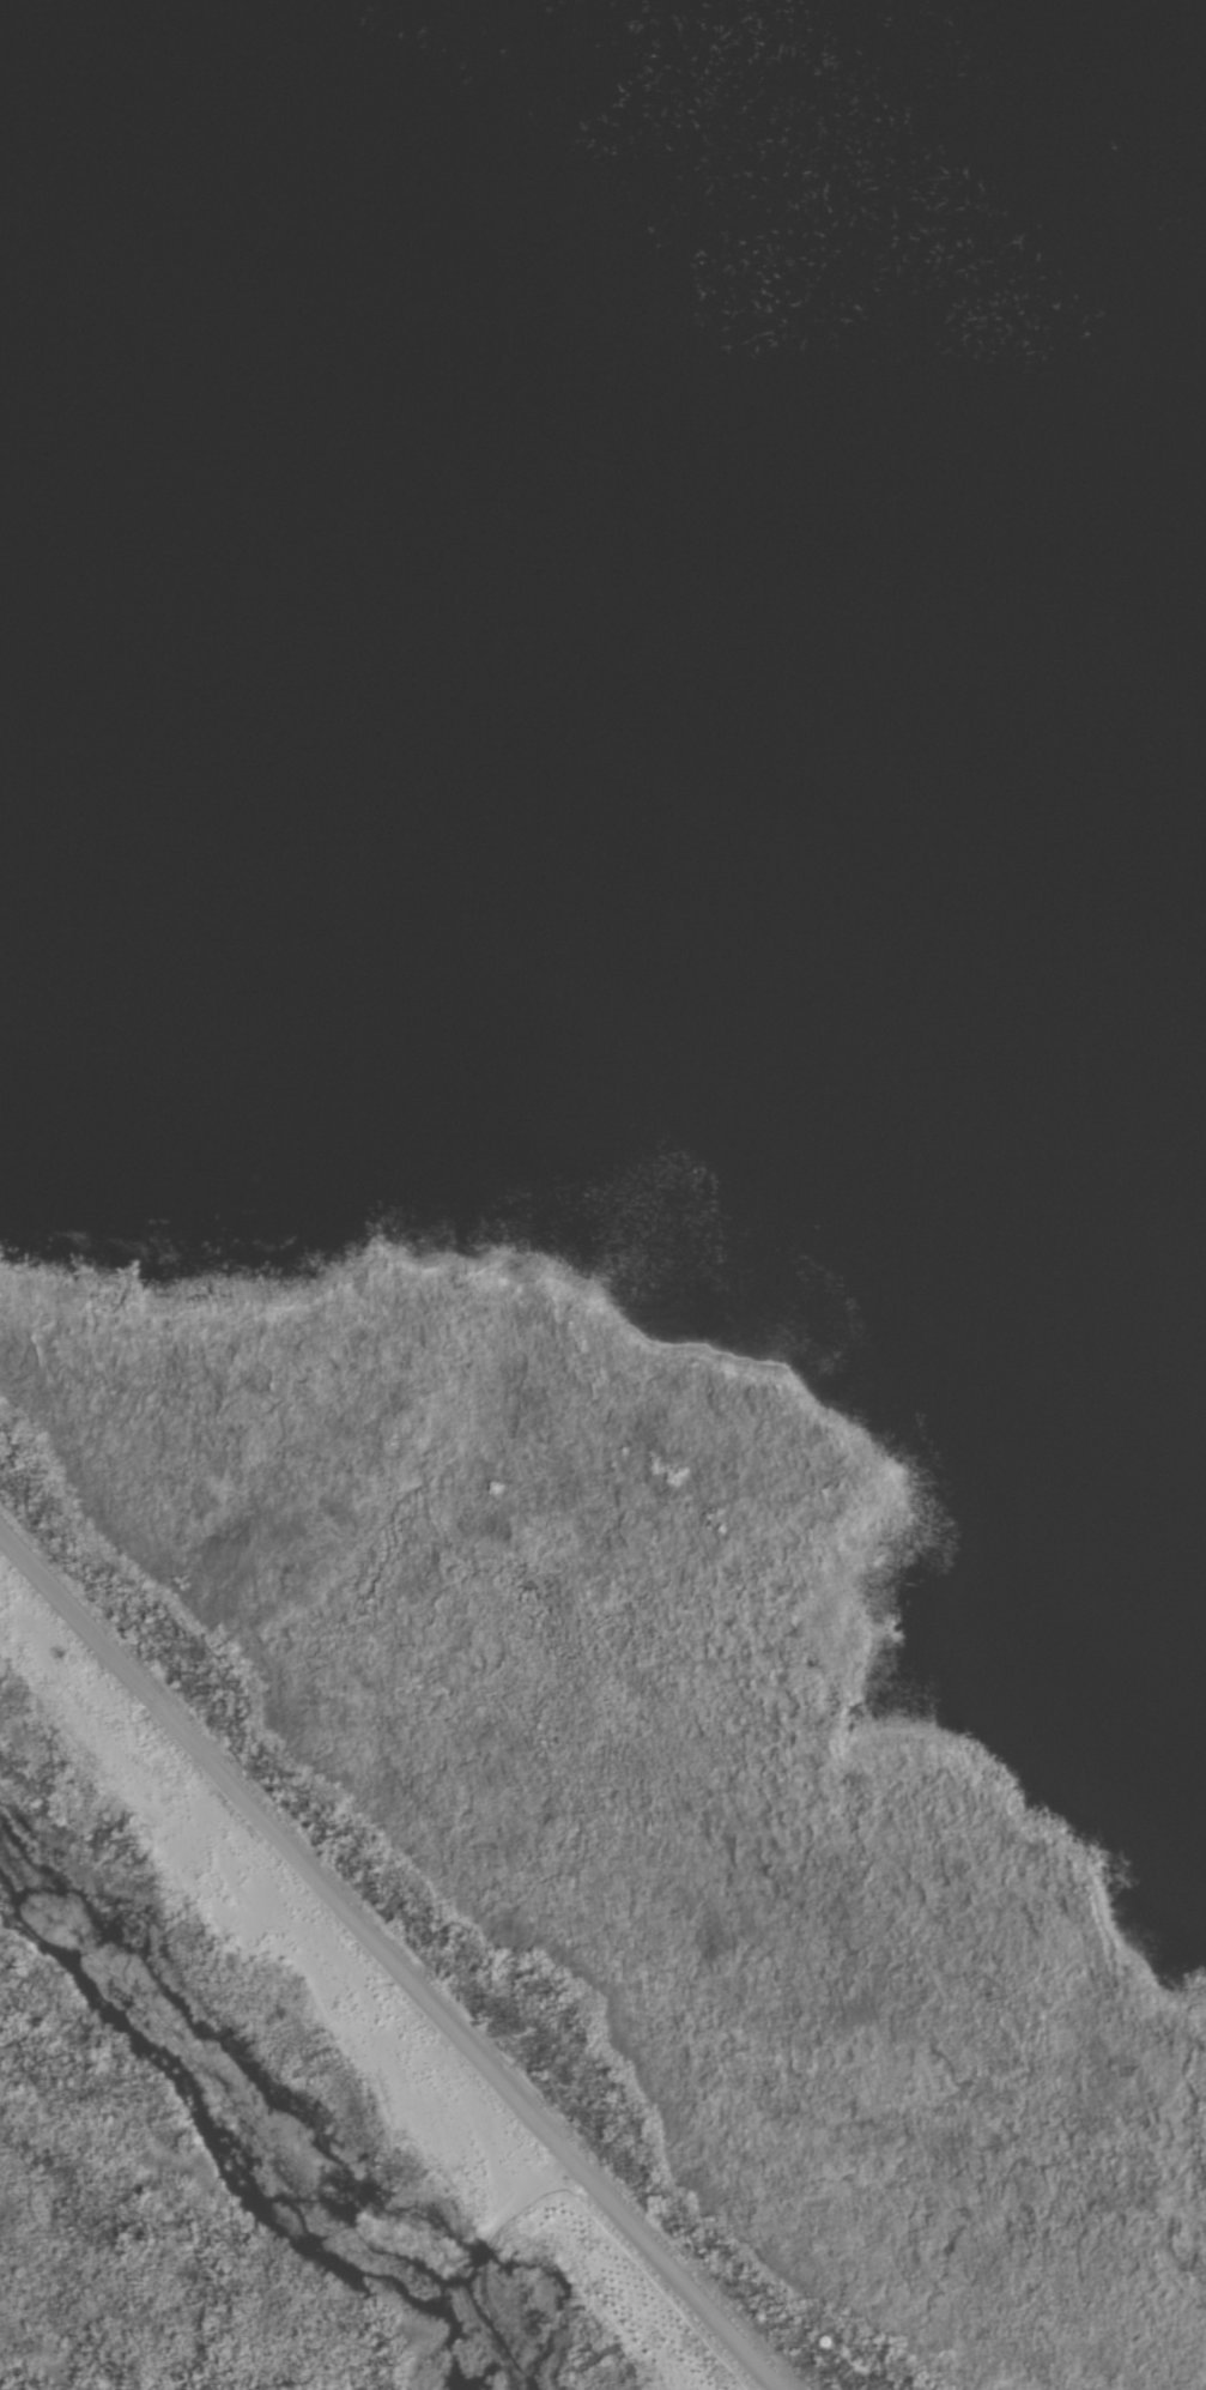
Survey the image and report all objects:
road: (387, 1961)

